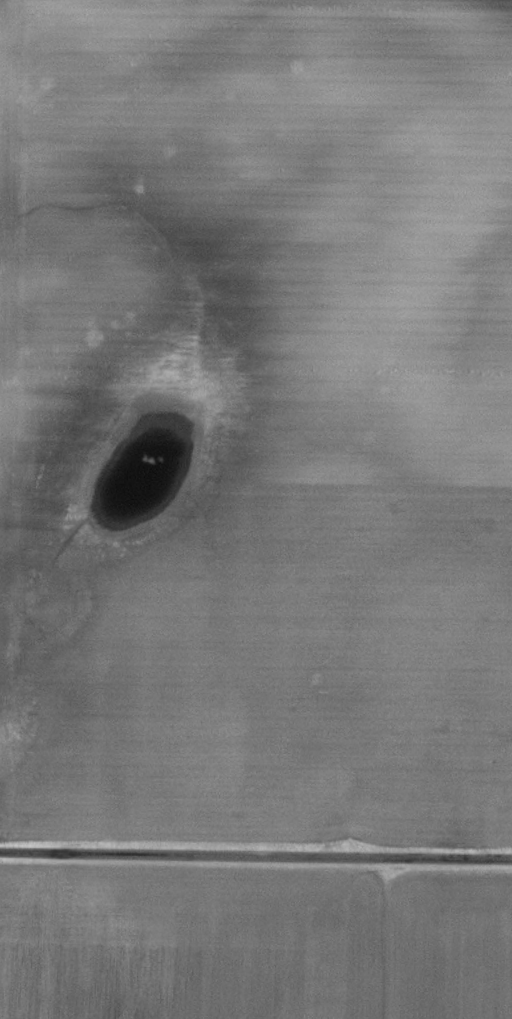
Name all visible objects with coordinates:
road: (256, 857)

